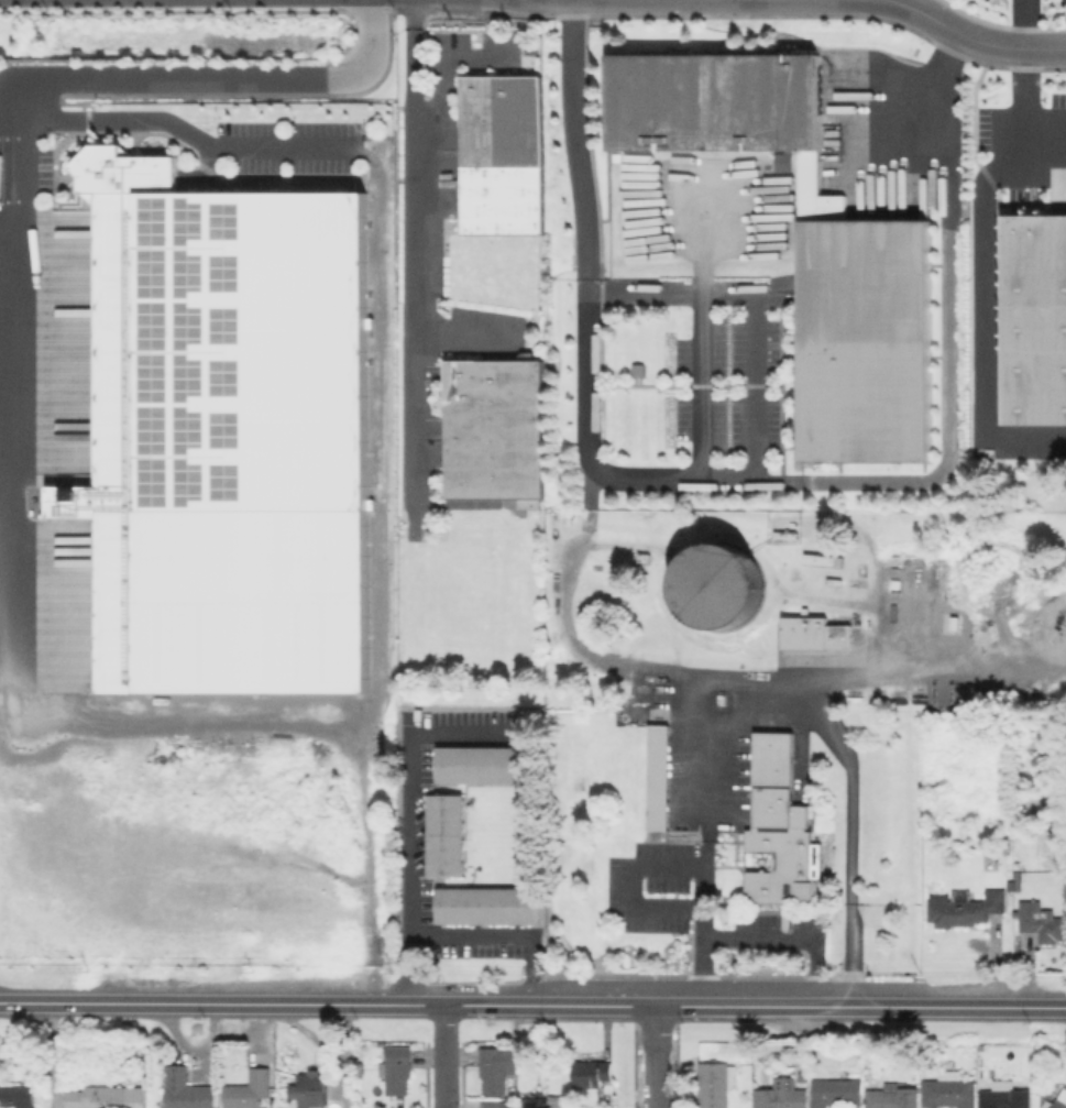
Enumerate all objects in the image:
road: (1029, 24)
road: (970, 39)
road: (441, 70)
building: (714, 103)
road: (905, 109)
road: (1029, 114)
road: (195, 135)
road: (580, 146)
building: (504, 154)
building: (782, 161)
road: (20, 172)
road: (409, 249)
building: (1031, 321)
road: (987, 325)
road: (458, 333)
building: (868, 345)
building: (229, 347)
road: (946, 369)
road: (705, 387)
building: (496, 430)
road: (761, 476)
building: (708, 567)
water tower: (717, 585)
building: (811, 633)
road: (317, 710)
road: (842, 732)
building: (485, 764)
building: (659, 777)
building: (974, 793)
road: (408, 818)
building: (780, 827)
building: (447, 834)
road: (652, 869)
building: (877, 903)
building: (488, 904)
building: (966, 910)
building: (1044, 925)
road: (501, 935)
road: (760, 945)
road: (272, 1001)
road: (728, 1007)
road: (989, 1008)
road: (444, 1056)
road: (653, 1057)
building: (497, 1067)
building: (396, 1068)
building: (592, 1073)
building: (716, 1084)
building: (314, 1087)
building: (186, 1089)
building: (250, 1089)
building: (949, 1089)
building: (836, 1091)
building: (540, 1093)
building: (781, 1095)
building: (15, 1096)
building: (890, 1096)
building: (1005, 1096)
building: (106, 1098)
building: (558, 1100)
building: (1058, 1102)
building: (502, 1105)

